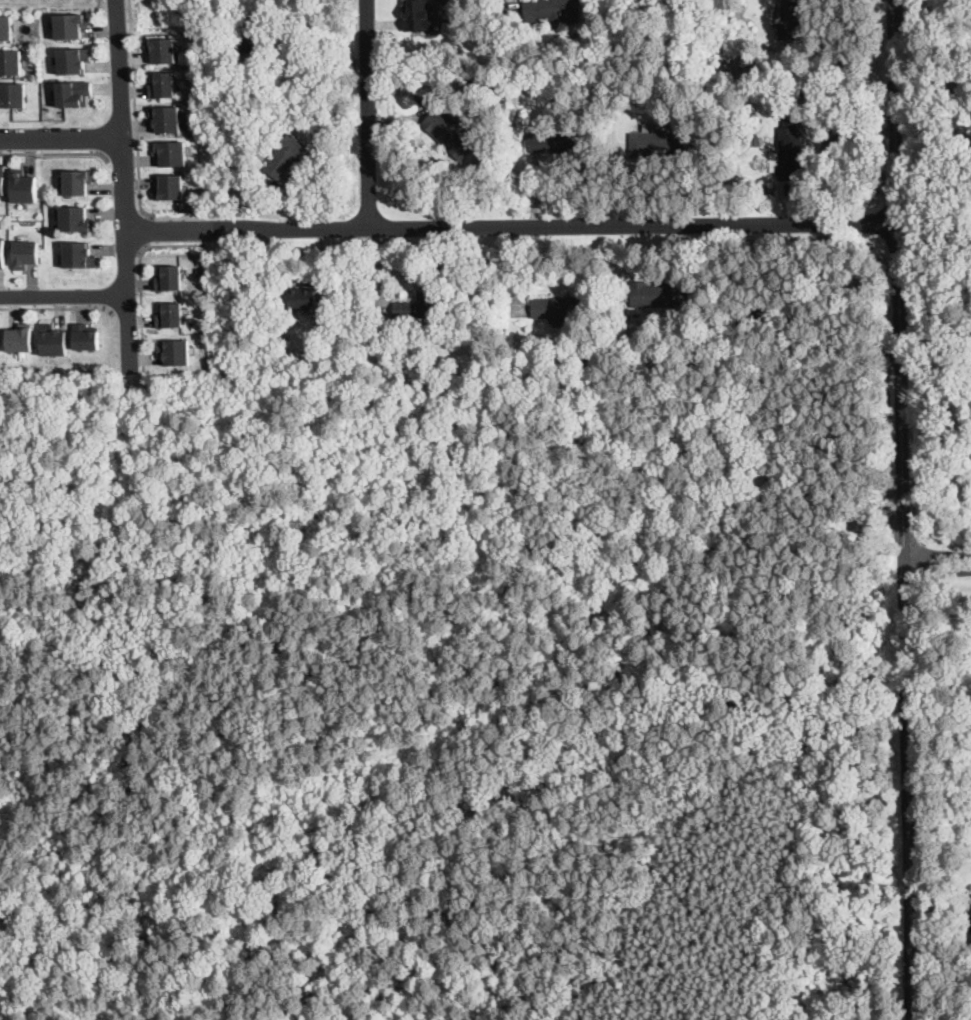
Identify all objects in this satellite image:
building: (555, 12)
building: (419, 15)
building: (791, 21)
building: (71, 24)
building: (7, 26)
building: (740, 26)
building: (251, 39)
building: (164, 48)
road: (297, 48)
building: (247, 58)
building: (727, 59)
building: (74, 60)
building: (11, 61)
building: (959, 79)
building: (163, 83)
building: (74, 93)
building: (13, 94)
road: (135, 111)
road: (370, 114)
building: (169, 117)
building: (242, 125)
building: (449, 135)
building: (752, 138)
road: (61, 139)
building: (555, 142)
building: (660, 143)
building: (171, 152)
building: (788, 152)
road: (55, 154)
building: (286, 156)
road: (123, 157)
building: (2, 179)
building: (78, 180)
building: (24, 185)
road: (125, 186)
building: (170, 186)
building: (77, 219)
road: (565, 227)
road: (146, 230)
road: (179, 232)
building: (3, 252)
building: (26, 252)
building: (79, 253)
road: (141, 276)
building: (169, 276)
road: (899, 280)
building: (661, 294)
road: (64, 296)
building: (301, 297)
building: (419, 306)
building: (560, 308)
road: (59, 309)
road: (127, 312)
building: (782, 313)
building: (171, 314)
building: (418, 320)
building: (379, 334)
building: (87, 336)
building: (21, 338)
building: (283, 338)
building: (54, 339)
building: (175, 350)
building: (634, 357)
road: (716, 516)
road: (25, 534)
road: (210, 545)
road: (640, 553)
road: (757, 560)
road: (933, 561)
road: (302, 615)
road: (121, 654)
road: (166, 692)
park: (445, 694)
road: (221, 748)
road: (900, 789)
road: (824, 825)
road: (118, 839)
road: (180, 851)
road: (230, 880)
building: (970, 915)
road: (460, 945)

